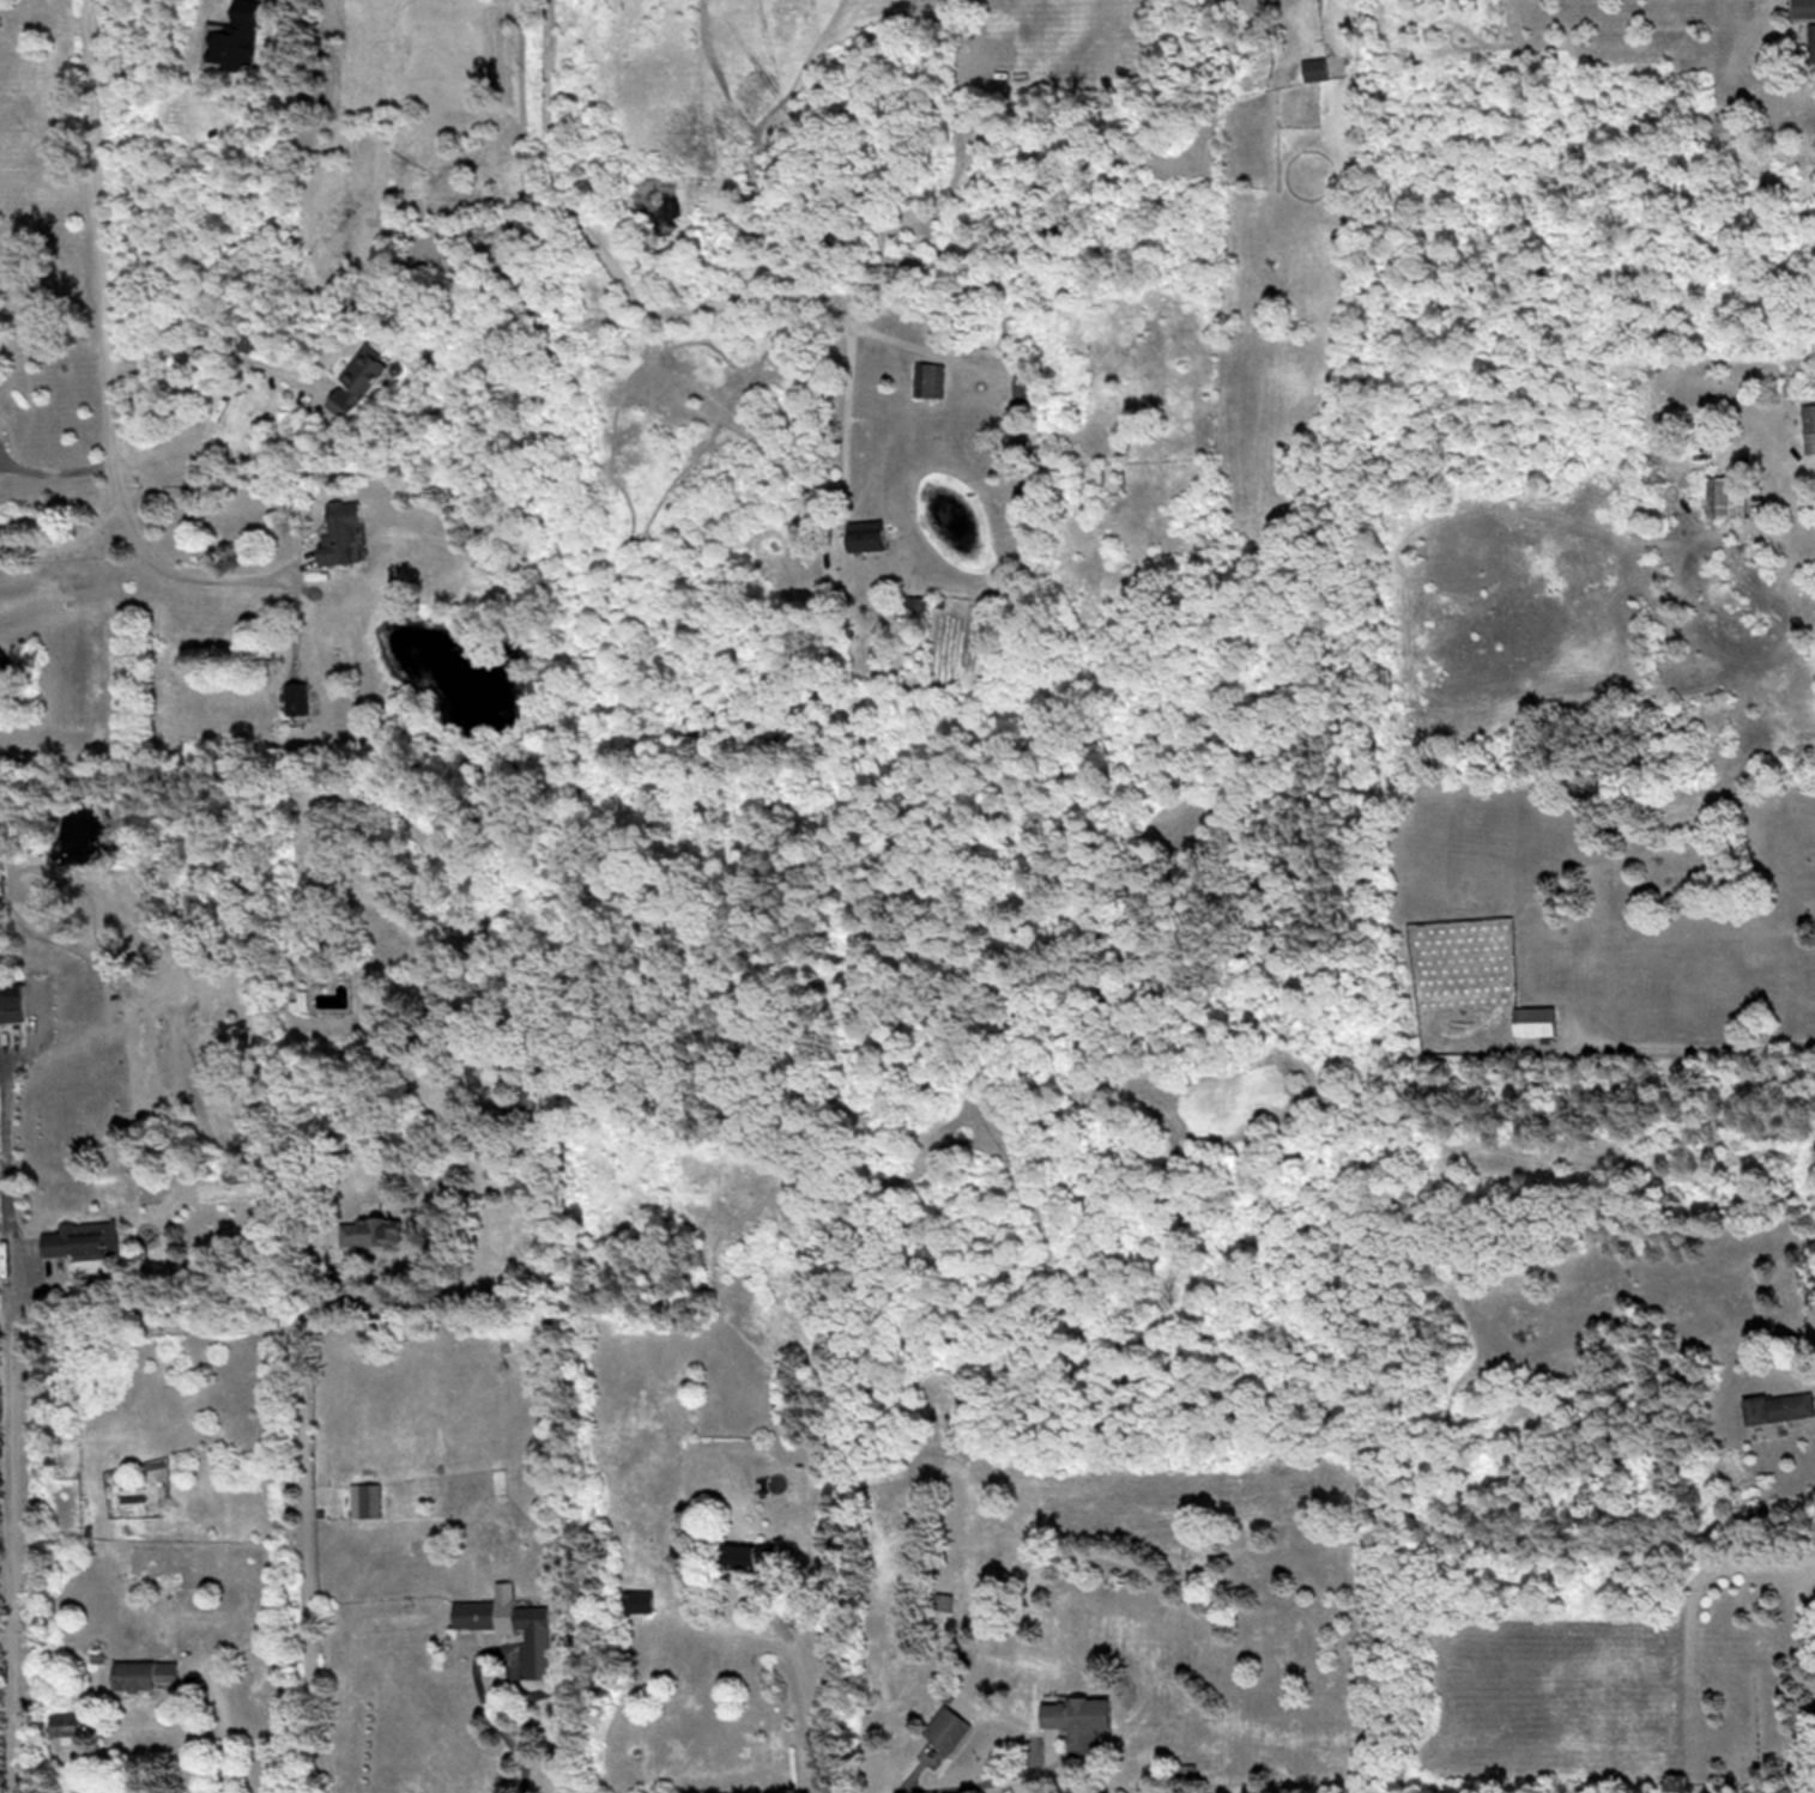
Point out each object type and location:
building: (1804, 7)
building: (1811, 41)
building: (1314, 69)
road: (660, 305)
road: (198, 345)
building: (927, 378)
building: (356, 381)
building: (1027, 388)
road: (99, 396)
road: (831, 410)
building: (1809, 428)
road: (52, 472)
building: (1725, 496)
building: (341, 533)
building: (867, 534)
road: (62, 535)
building: (1, 668)
building: (296, 697)
building: (300, 1001)
building: (12, 1007)
building: (1535, 1022)
building: (374, 1232)
building: (73, 1244)
building: (1780, 1407)
building: (367, 1500)
road: (301, 1527)
road: (8, 1538)
building: (749, 1555)
building: (637, 1600)
road: (1801, 1607)
road: (485, 1650)
building: (537, 1653)
park: (1744, 1671)
building: (144, 1673)
road: (799, 1685)
road: (224, 1720)
building: (1079, 1720)
building: (63, 1724)
building: (948, 1728)
road: (520, 1764)
road: (981, 1780)

